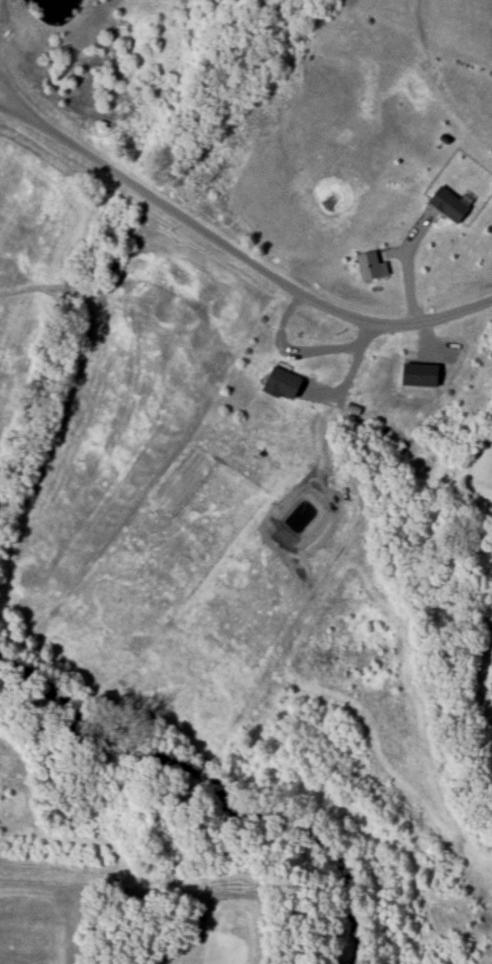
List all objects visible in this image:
building: (449, 204)
road: (242, 252)
road: (402, 267)
road: (346, 369)
building: (284, 384)
river: (216, 791)

